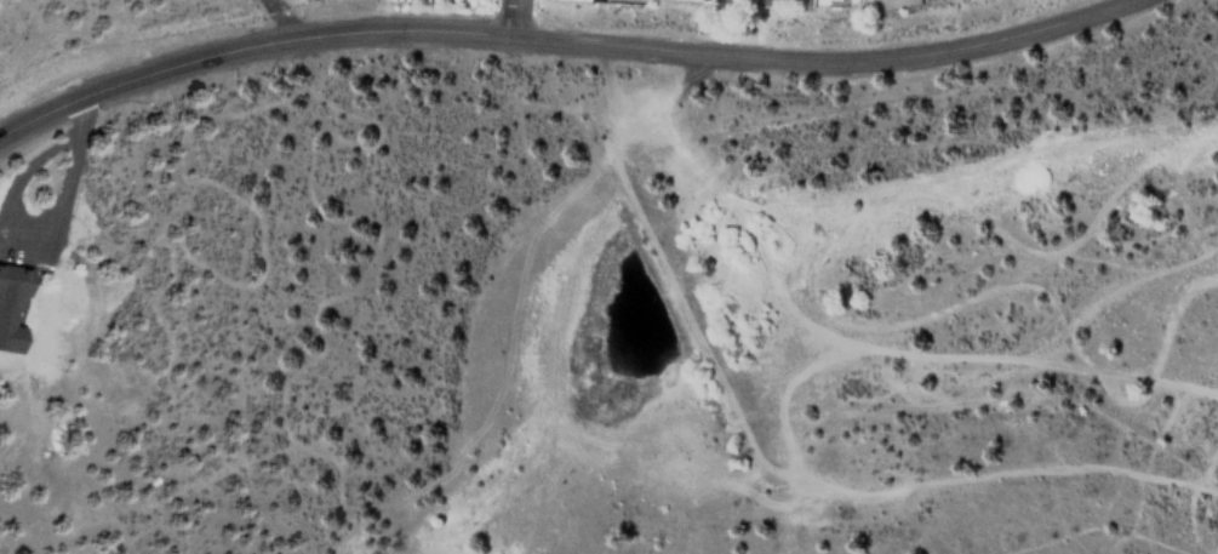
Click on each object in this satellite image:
building: (766, 1)
road: (515, 18)
road: (279, 19)
road: (565, 40)
building: (5, 315)

